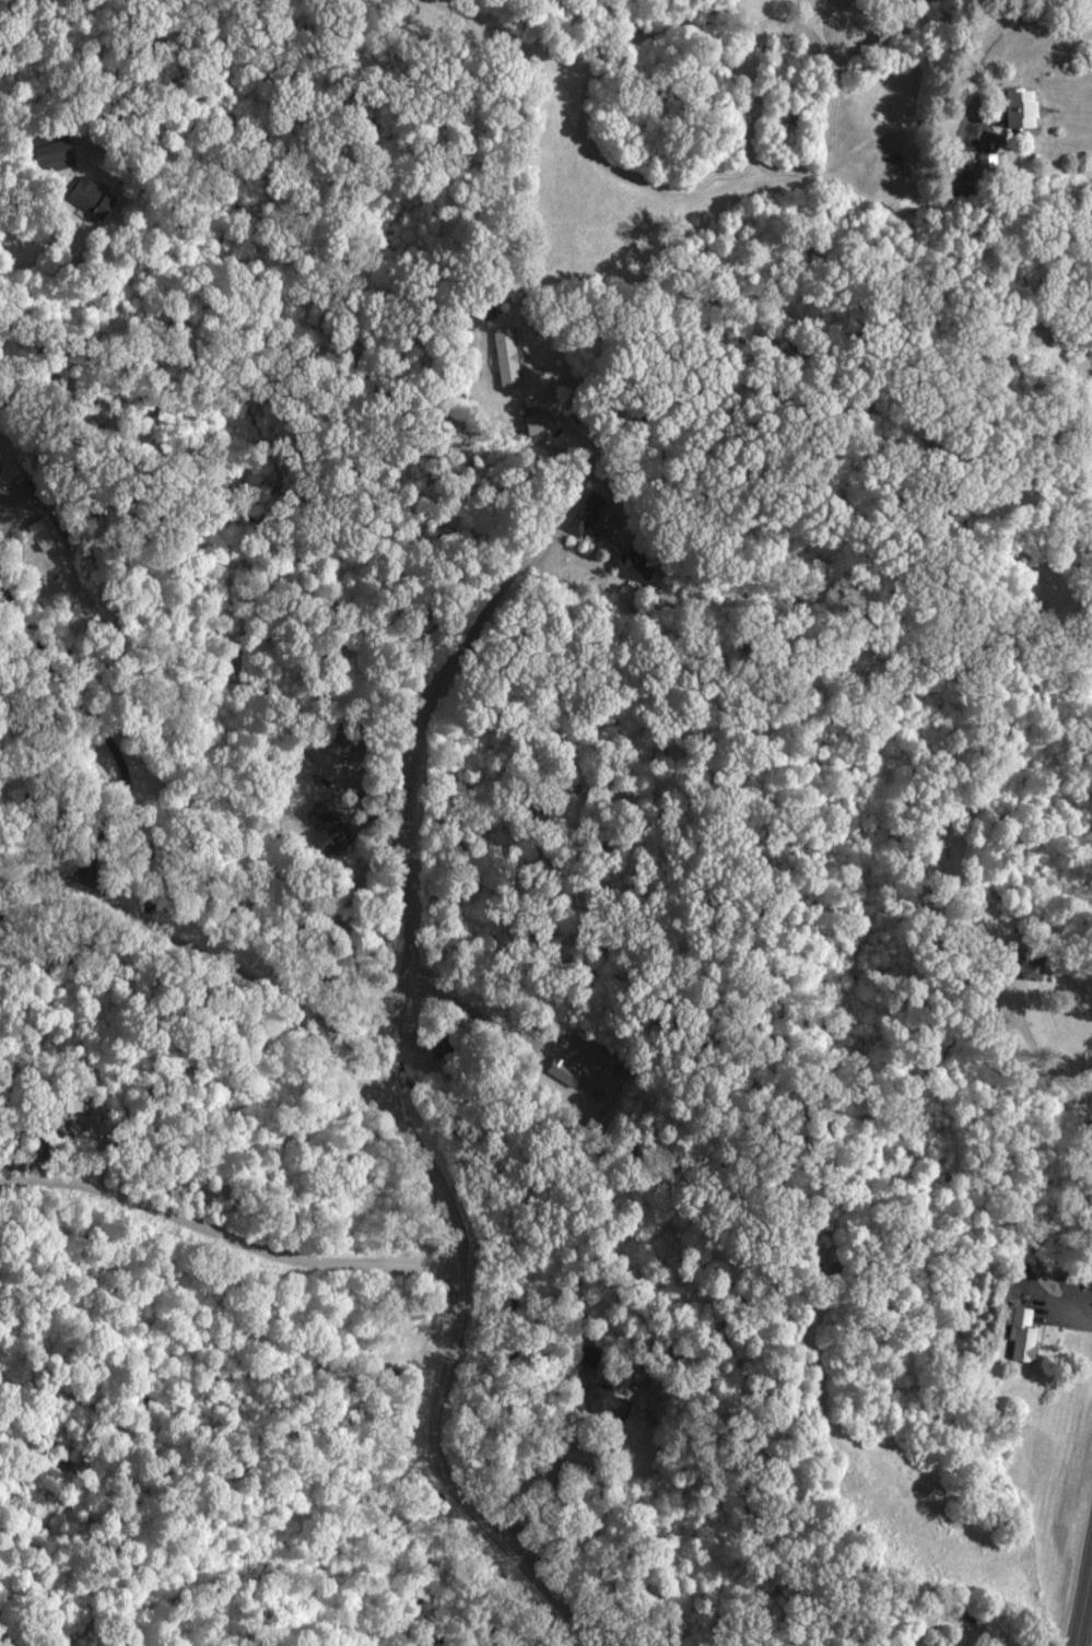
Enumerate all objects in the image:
road: (1006, 25)
road: (114, 80)
building: (1020, 107)
building: (52, 151)
building: (962, 176)
building: (90, 196)
building: (506, 355)
building: (536, 422)
road: (13, 508)
building: (585, 513)
building: (44, 533)
building: (634, 563)
road: (102, 732)
road: (413, 746)
building: (325, 827)
building: (1025, 965)
road: (481, 1015)
building: (563, 1070)
road: (1055, 1072)
building: (73, 1103)
road: (423, 1176)
road: (226, 1238)
building: (1020, 1331)
building: (607, 1399)
road: (552, 1493)
road: (1084, 1609)

